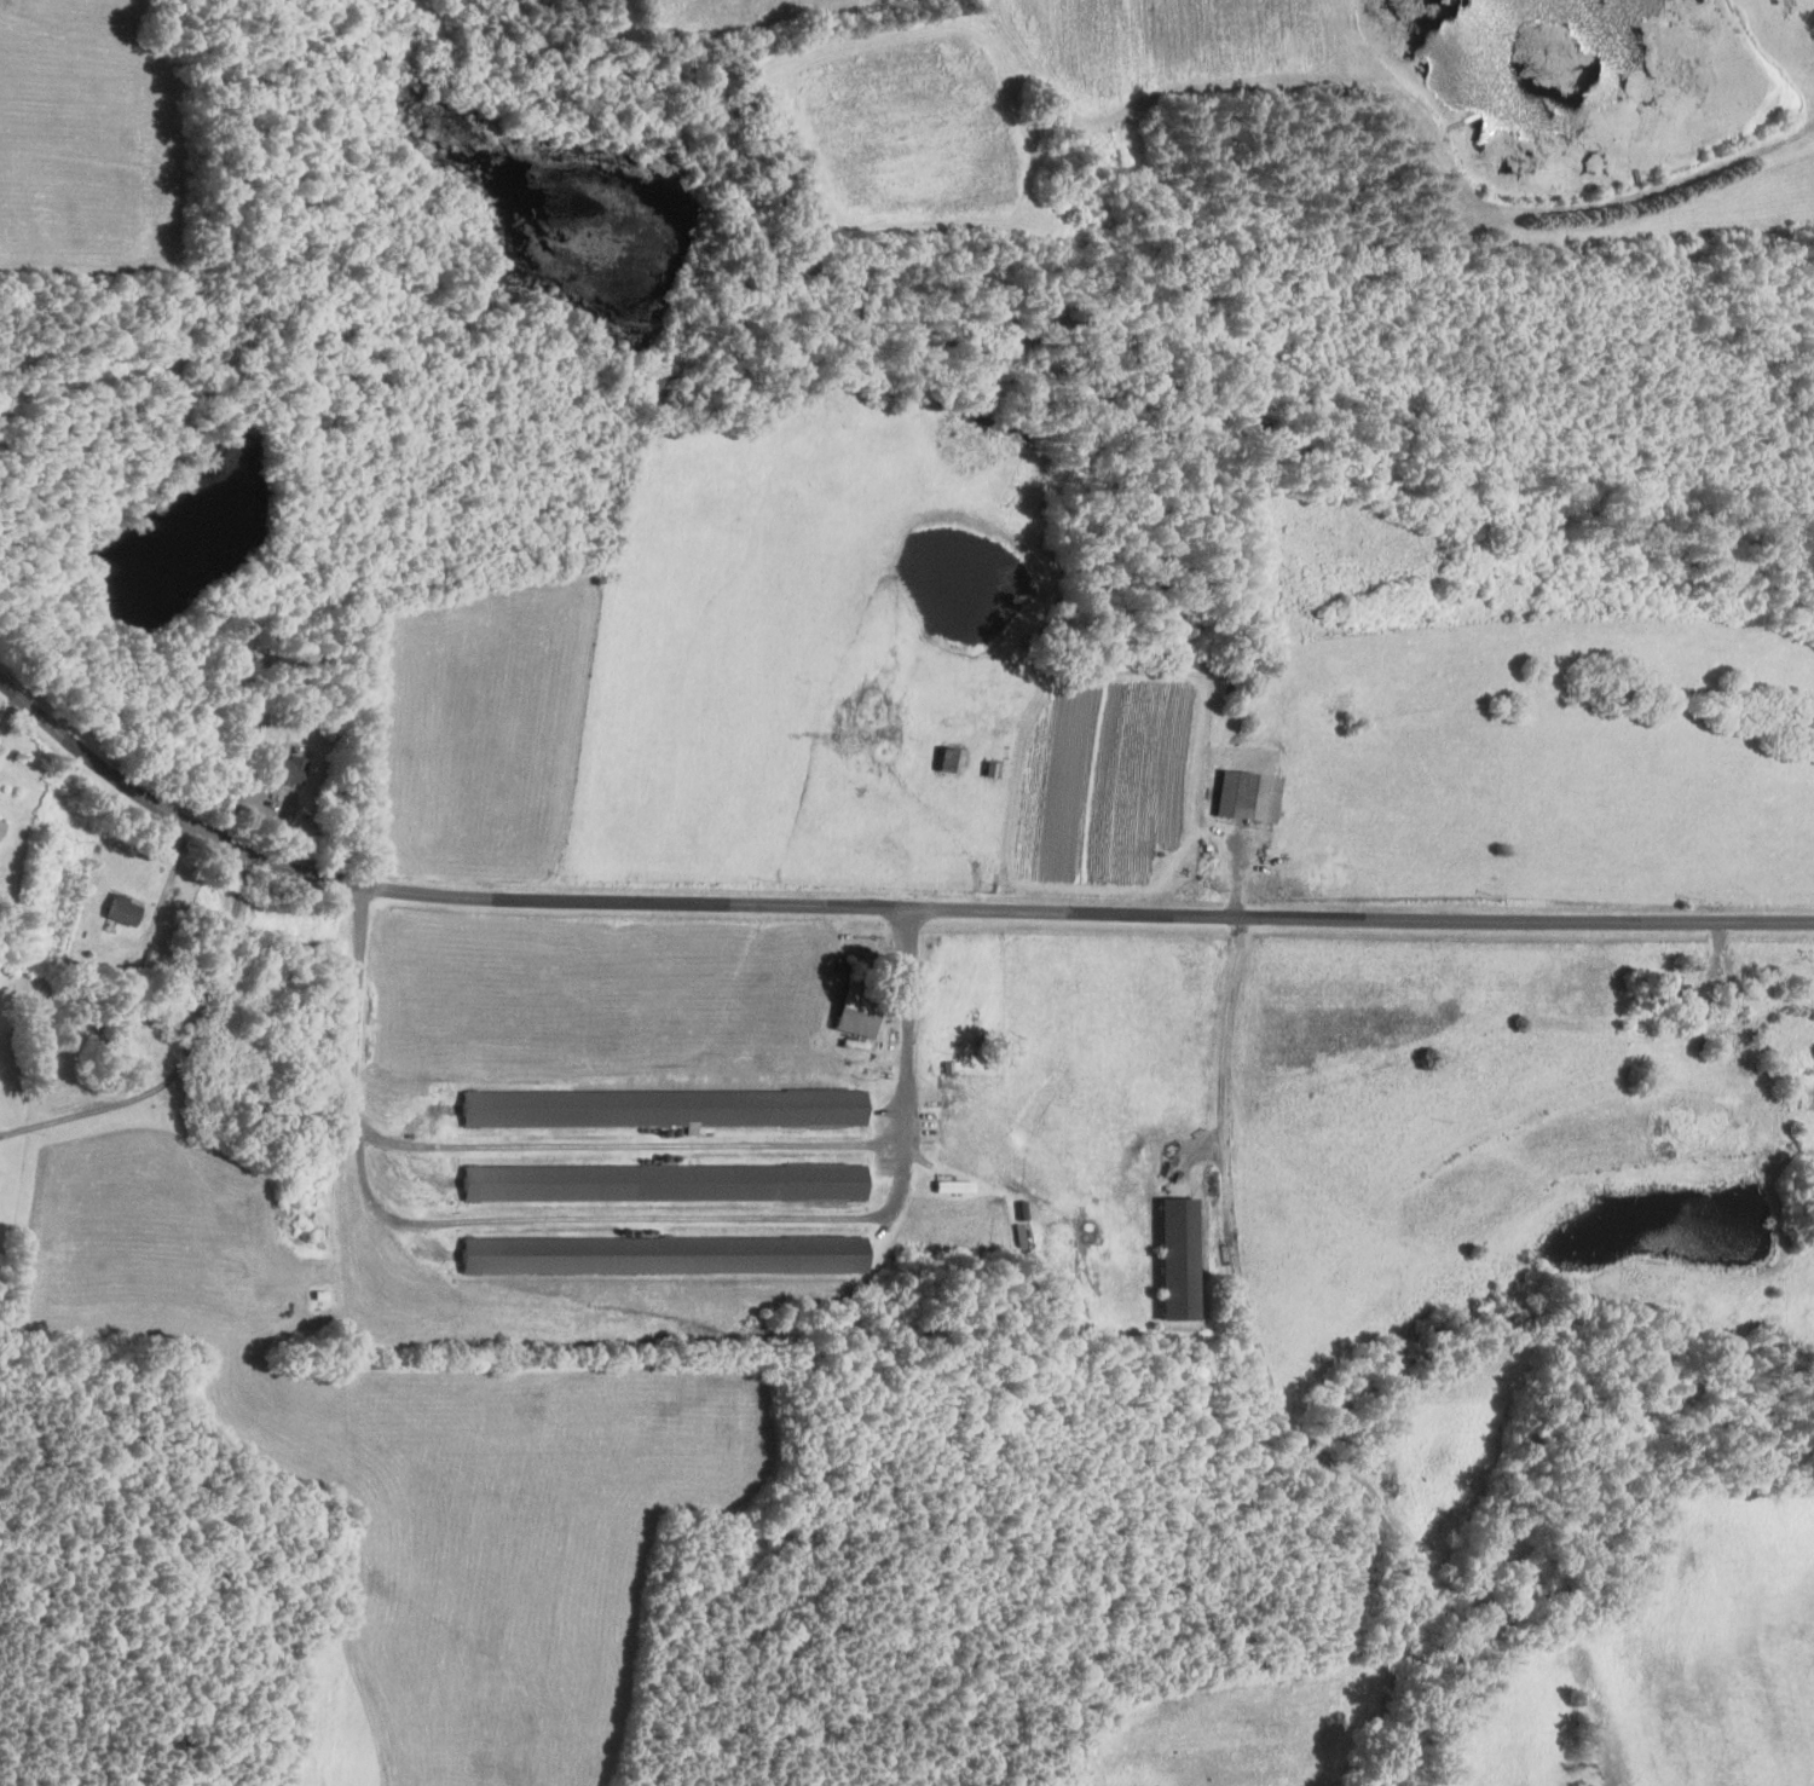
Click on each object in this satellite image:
building: (284, 768)
building: (1247, 794)
building: (1, 825)
building: (122, 909)
road: (878, 909)
road: (221, 948)
building: (859, 1008)
road: (1214, 1047)
road: (110, 1105)
building: (665, 1106)
road: (619, 1141)
building: (664, 1181)
road: (616, 1221)
building: (665, 1253)
building: (1179, 1258)

